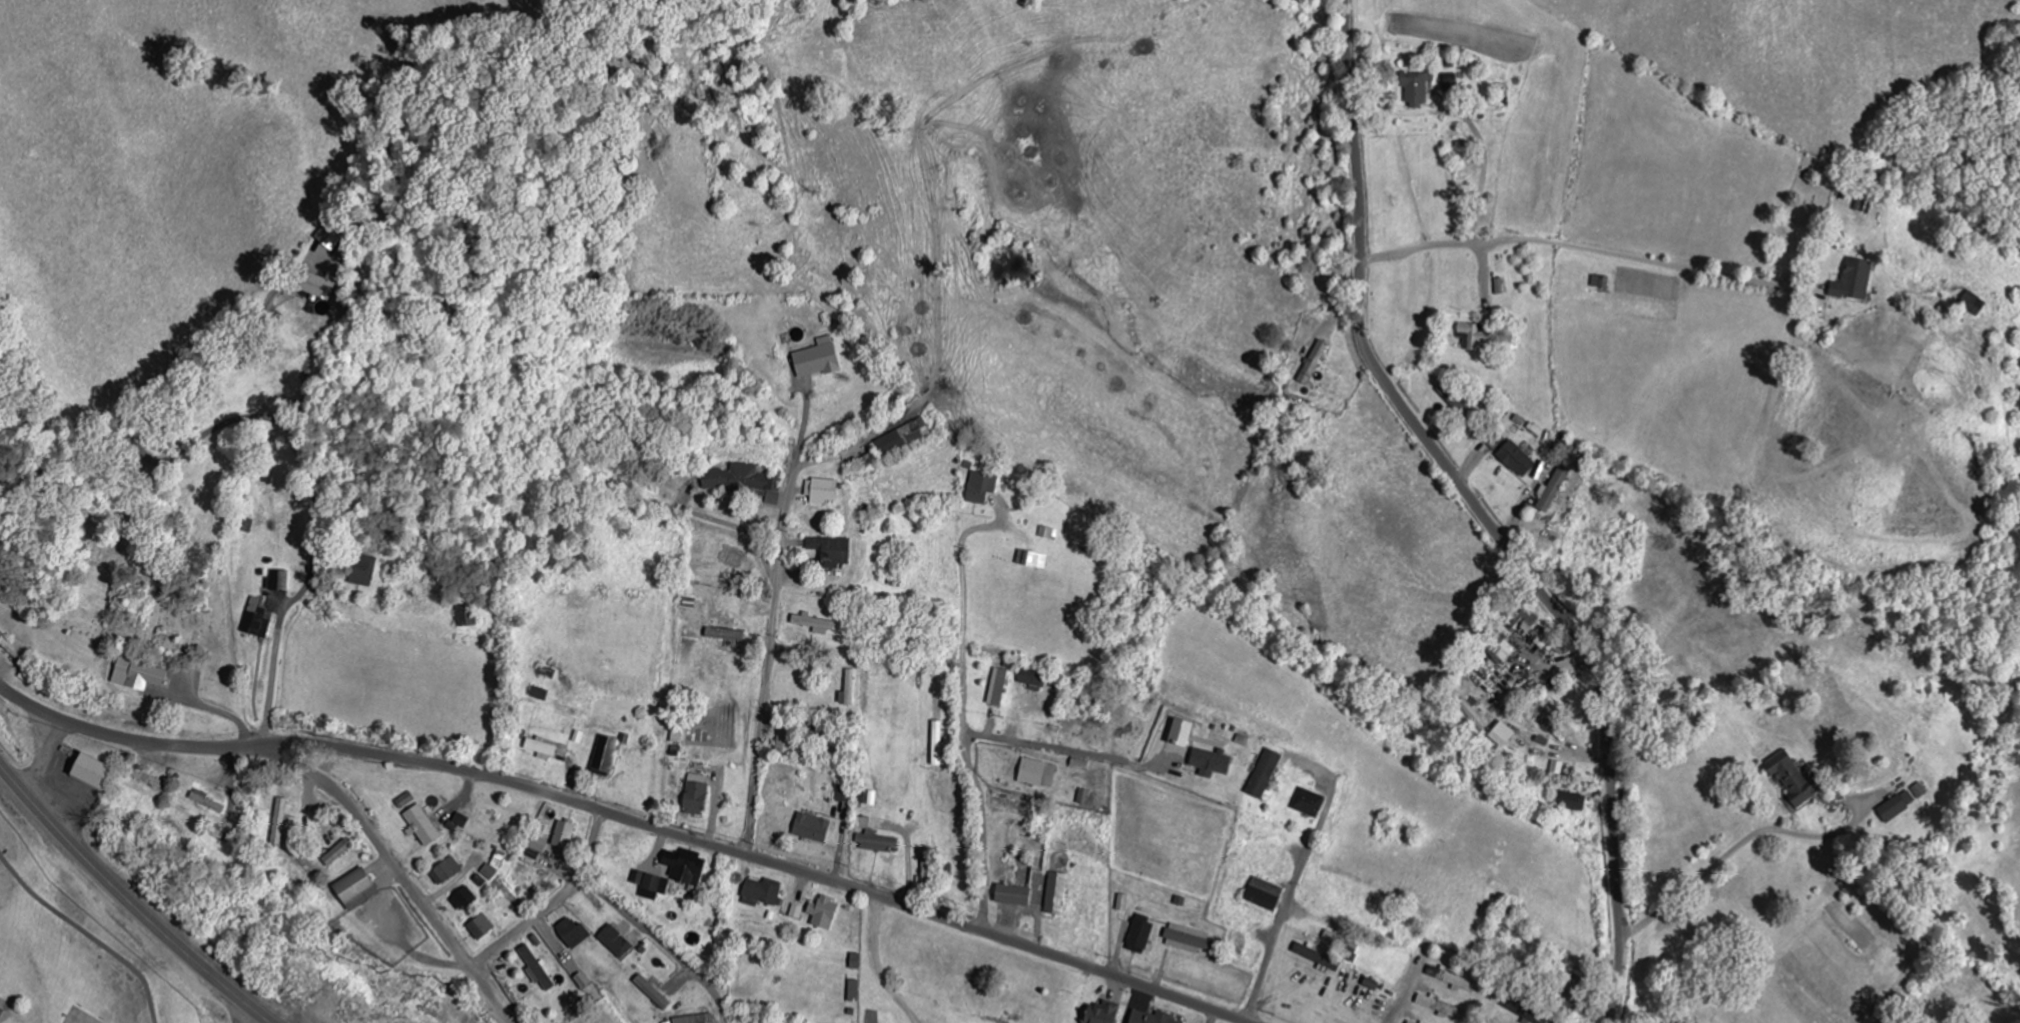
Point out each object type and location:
building: (1450, 83)
building: (1415, 89)
building: (331, 236)
building: (351, 244)
building: (1854, 281)
building: (317, 288)
building: (1973, 304)
building: (1474, 337)
building: (816, 360)
building: (1313, 363)
road: (261, 420)
building: (903, 438)
building: (1516, 460)
building: (743, 482)
building: (980, 488)
building: (1552, 490)
building: (821, 492)
road: (1479, 513)
building: (1048, 534)
building: (830, 553)
building: (1031, 560)
building: (364, 571)
building: (278, 582)
park: (144, 589)
building: (468, 617)
building: (255, 620)
building: (1521, 624)
building: (814, 625)
road: (771, 626)
building: (724, 635)
building: (1542, 638)
building: (1502, 651)
building: (138, 676)
building: (1032, 680)
building: (997, 688)
building: (849, 690)
building: (1541, 710)
road: (216, 713)
building: (1472, 715)
building: (1180, 734)
road: (964, 735)
building: (1501, 735)
building: (784, 741)
building: (936, 744)
road: (1043, 746)
building: (540, 750)
building: (604, 755)
building: (1209, 763)
road: (305, 772)
building: (90, 773)
building: (1036, 774)
building: (1263, 775)
building: (1791, 778)
building: (146, 780)
building: (1919, 791)
building: (694, 796)
building: (1570, 802)
building: (1308, 804)
building: (1897, 806)
building: (460, 821)
building: (279, 824)
building: (863, 824)
building: (421, 827)
building: (811, 829)
building: (563, 836)
building: (876, 843)
building: (538, 844)
building: (336, 854)
building: (531, 859)
road: (759, 860)
building: (498, 861)
building: (684, 868)
building: (445, 872)
building: (489, 873)
building: (651, 887)
building: (355, 890)
building: (761, 893)
building: (1263, 894)
building: (1056, 895)
building: (1012, 896)
building: (462, 900)
road: (128, 901)
road: (1286, 902)
road: (553, 903)
building: (1122, 903)
building: (796, 913)
building: (823, 914)
building: (480, 928)
building: (572, 934)
building: (1139, 935)
building: (1184, 940)
building: (614, 943)
road: (660, 943)
building: (1343, 945)
building: (1316, 957)
building: (535, 971)
building: (1451, 979)
building: (580, 982)
building: (853, 992)
building: (651, 993)
building: (1440, 1008)
building: (1524, 1010)
building: (1100, 1013)
building: (1150, 1018)
building: (696, 1019)
building: (1409, 1022)

